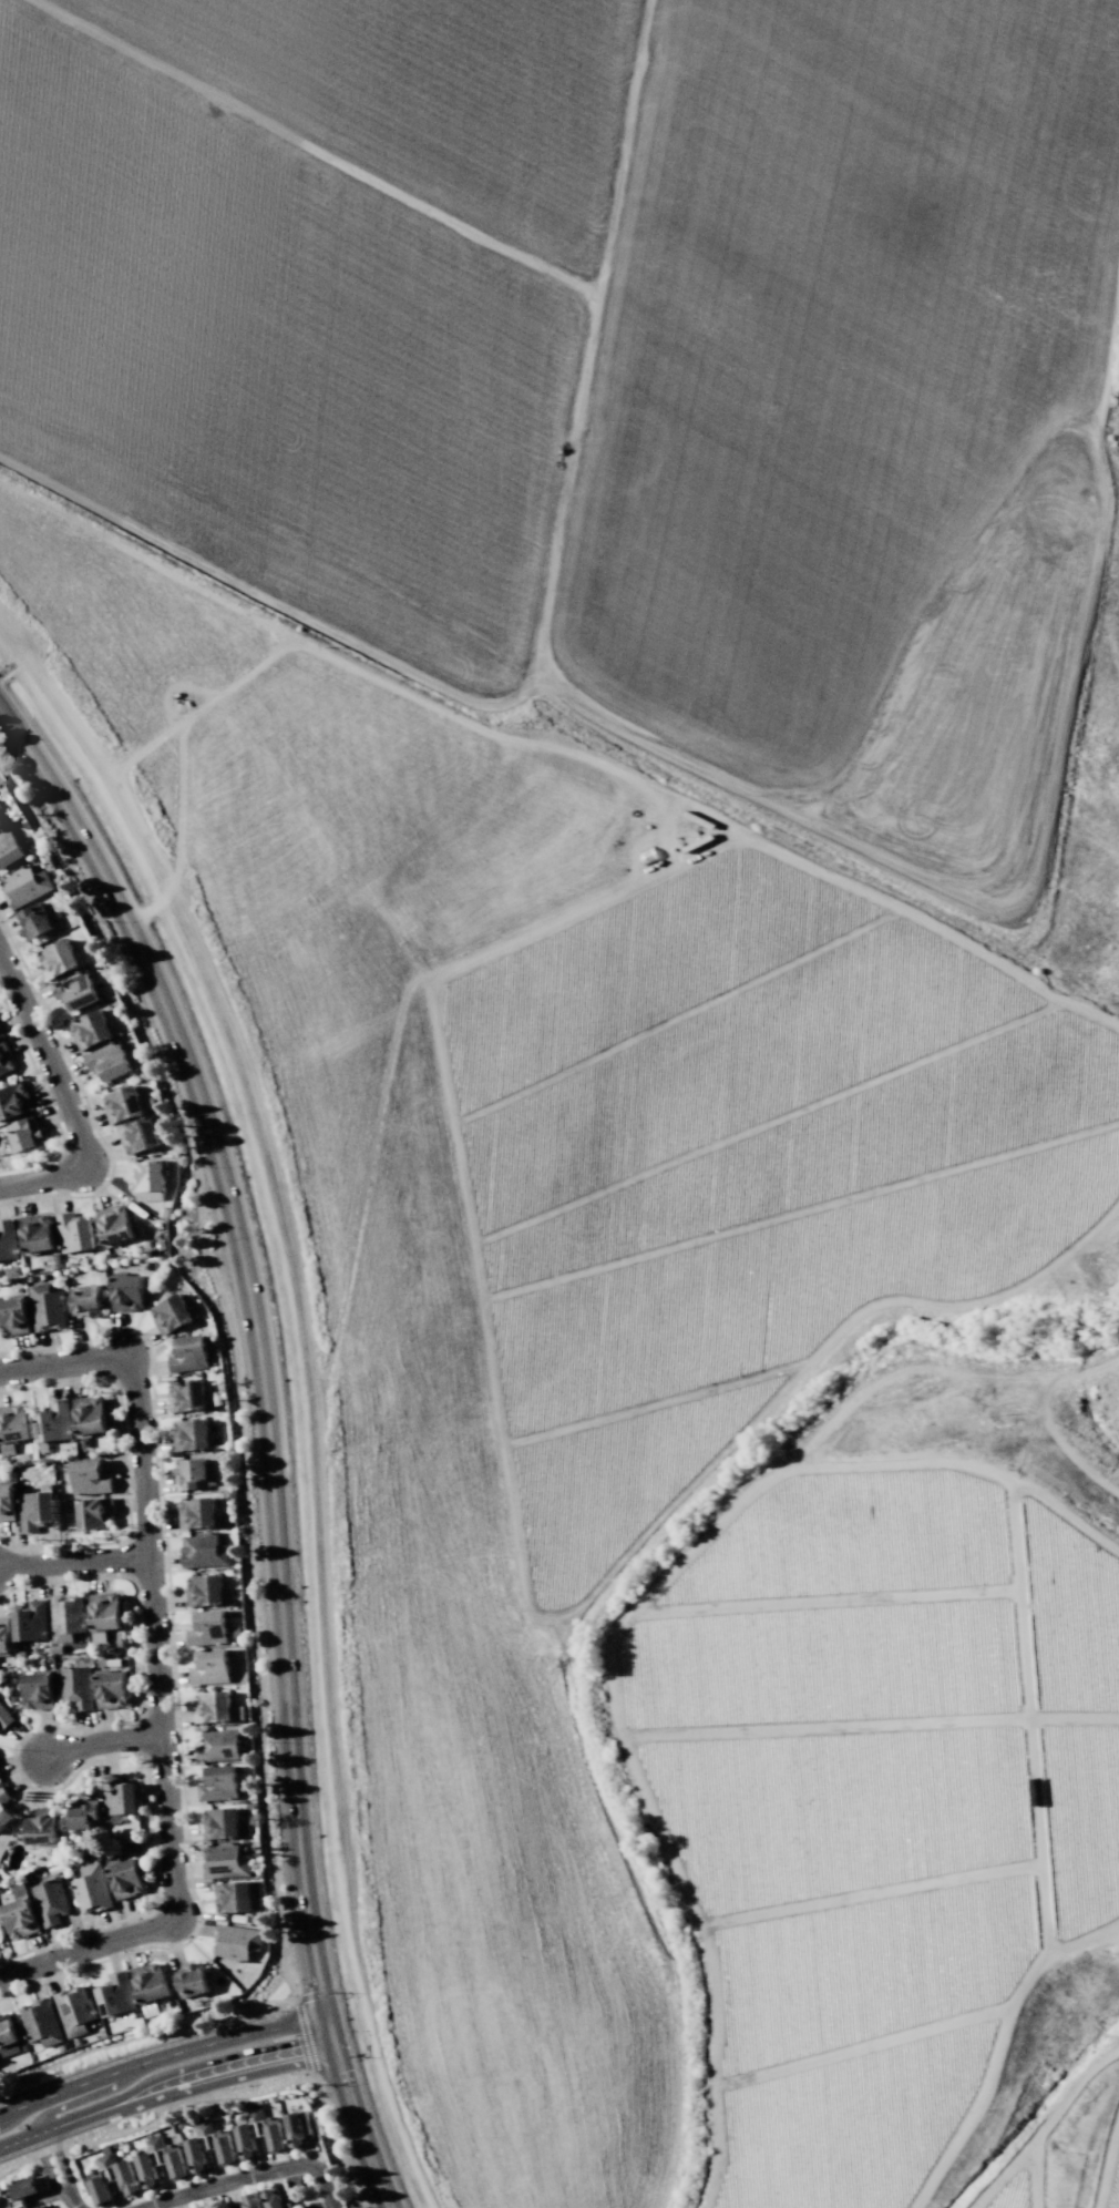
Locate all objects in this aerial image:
building: (1, 821)
building: (9, 848)
building: (55, 880)
building: (24, 886)
building: (33, 921)
building: (58, 959)
building: (75, 990)
crop: (671, 1024)
building: (90, 1029)
building: (0, 1034)
building: (4, 1059)
building: (107, 1060)
road: (64, 1096)
building: (13, 1101)
road: (48, 1102)
road: (84, 1102)
building: (122, 1104)
building: (24, 1134)
building: (138, 1135)
building: (146, 1178)
building: (163, 1213)
building: (113, 1225)
building: (73, 1233)
building: (35, 1234)
building: (7, 1239)
building: (161, 1245)
building: (54, 1260)
building: (11, 1271)
building: (125, 1291)
building: (85, 1300)
building: (45, 1307)
building: (171, 1313)
building: (13, 1316)
building: (188, 1352)
road: (72, 1360)
building: (185, 1396)
building: (88, 1417)
building: (53, 1421)
building: (11, 1428)
building: (191, 1434)
road: (267, 1438)
road: (124, 1462)
building: (194, 1472)
building: (89, 1476)
building: (6, 1501)
building: (34, 1510)
building: (93, 1512)
building: (197, 1512)
road: (246, 1513)
road: (3, 1542)
building: (204, 1551)
road: (74, 1561)
building: (204, 1589)
building: (104, 1615)
building: (68, 1618)
building: (31, 1621)
road: (136, 1621)
building: (207, 1627)
building: (4, 1636)
building: (20, 1655)
road: (173, 1663)
building: (211, 1666)
building: (75, 1687)
building: (110, 1687)
building: (35, 1689)
building: (211, 1706)
building: (4, 1717)
road: (162, 1739)
road: (102, 1740)
building: (218, 1746)
road: (14, 1771)
building: (218, 1782)
building: (119, 1795)
building: (4, 1807)
building: (83, 1812)
building: (220, 1822)
building: (40, 1826)
building: (225, 1861)
building: (123, 1875)
road: (154, 1881)
building: (91, 1888)
building: (233, 1897)
building: (49, 1900)
building: (19, 1913)
building: (236, 1941)
building: (192, 1980)
building: (150, 1986)
building: (115, 1994)
building: (75, 2011)
building: (41, 2023)
road: (305, 2036)
building: (8, 2037)
road: (229, 2040)
traffic signals: (302, 2049)
traffic signals: (338, 2073)
road: (89, 2082)
road: (162, 2087)
road: (85, 2097)
road: (222, 2099)
road: (21, 2106)
building: (297, 2128)
building: (260, 2134)
building: (209, 2147)
building: (158, 2161)
road: (249, 2175)
building: (111, 2178)
building: (19, 2191)
road: (68, 2197)
building: (275, 2198)
building: (250, 2200)
road: (73, 2202)
building: (42, 2206)
building: (204, 2207)

